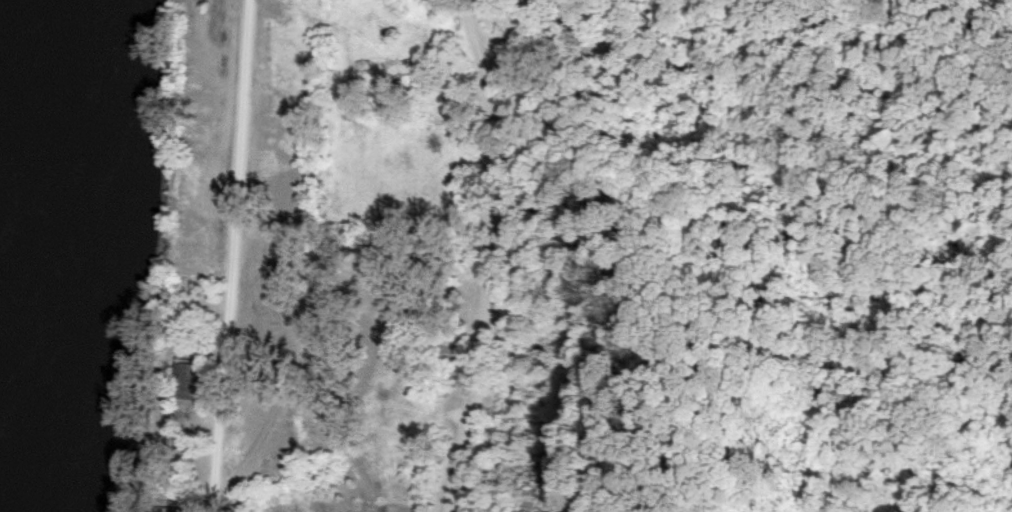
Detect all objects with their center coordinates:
building: (416, 40)
road: (612, 43)
road: (479, 255)
road: (224, 256)
road: (298, 306)
building: (185, 377)

